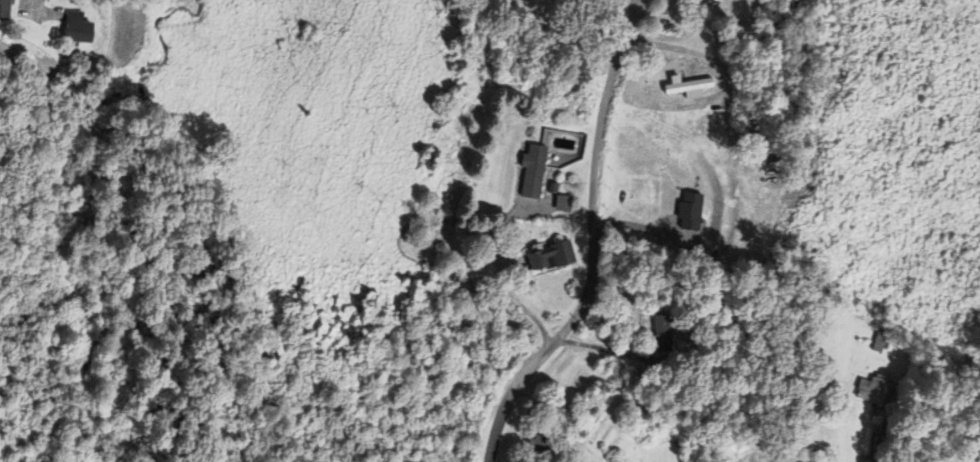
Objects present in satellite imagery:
building: (562, 2)
road: (635, 4)
building: (789, 4)
road: (36, 5)
building: (6, 9)
building: (80, 29)
building: (771, 30)
building: (744, 31)
building: (686, 85)
building: (641, 98)
building: (748, 124)
building: (762, 164)
building: (531, 171)
building: (552, 187)
building: (562, 203)
building: (684, 204)
road: (590, 241)
building: (551, 256)
building: (661, 332)
building: (878, 340)
building: (702, 364)
building: (874, 389)
building: (539, 443)
road: (876, 447)
building: (831, 458)

